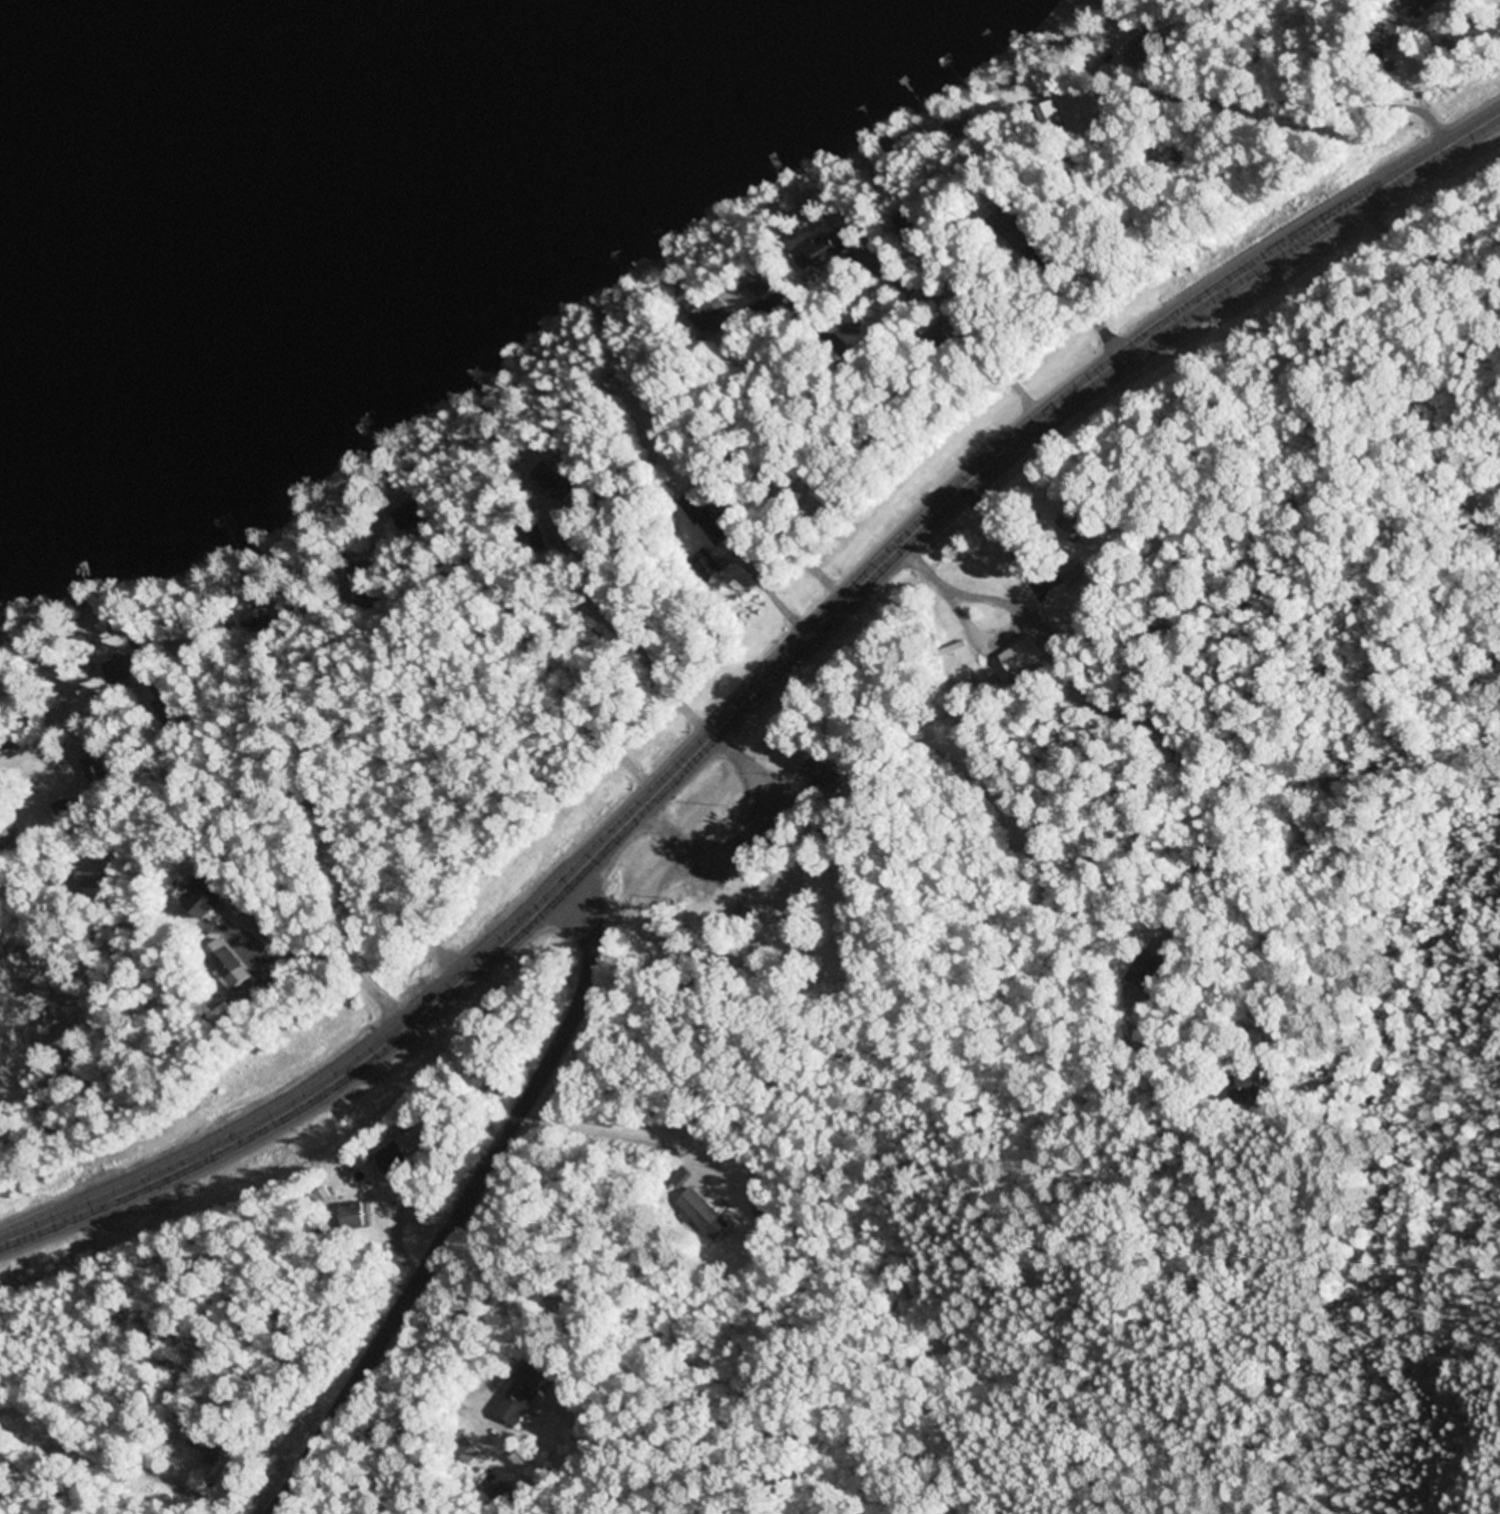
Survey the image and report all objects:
building: (1421, 6)
building: (1056, 38)
building: (1139, 48)
road: (1229, 102)
building: (1047, 116)
building: (1096, 135)
building: (830, 250)
road: (954, 307)
building: (711, 314)
building: (1072, 525)
building: (713, 528)
building: (704, 567)
building: (255, 622)
road: (742, 638)
building: (1020, 658)
building: (121, 670)
road: (756, 690)
road: (760, 738)
road: (11, 756)
building: (92, 771)
building: (825, 776)
building: (91, 880)
building: (752, 890)
building: (204, 897)
building: (227, 964)
building: (1144, 971)
building: (1248, 1089)
building: (391, 1157)
building: (681, 1177)
road: (466, 1203)
building: (351, 1215)
building: (703, 1215)
building: (522, 1393)
building: (212, 1446)
building: (467, 1455)

